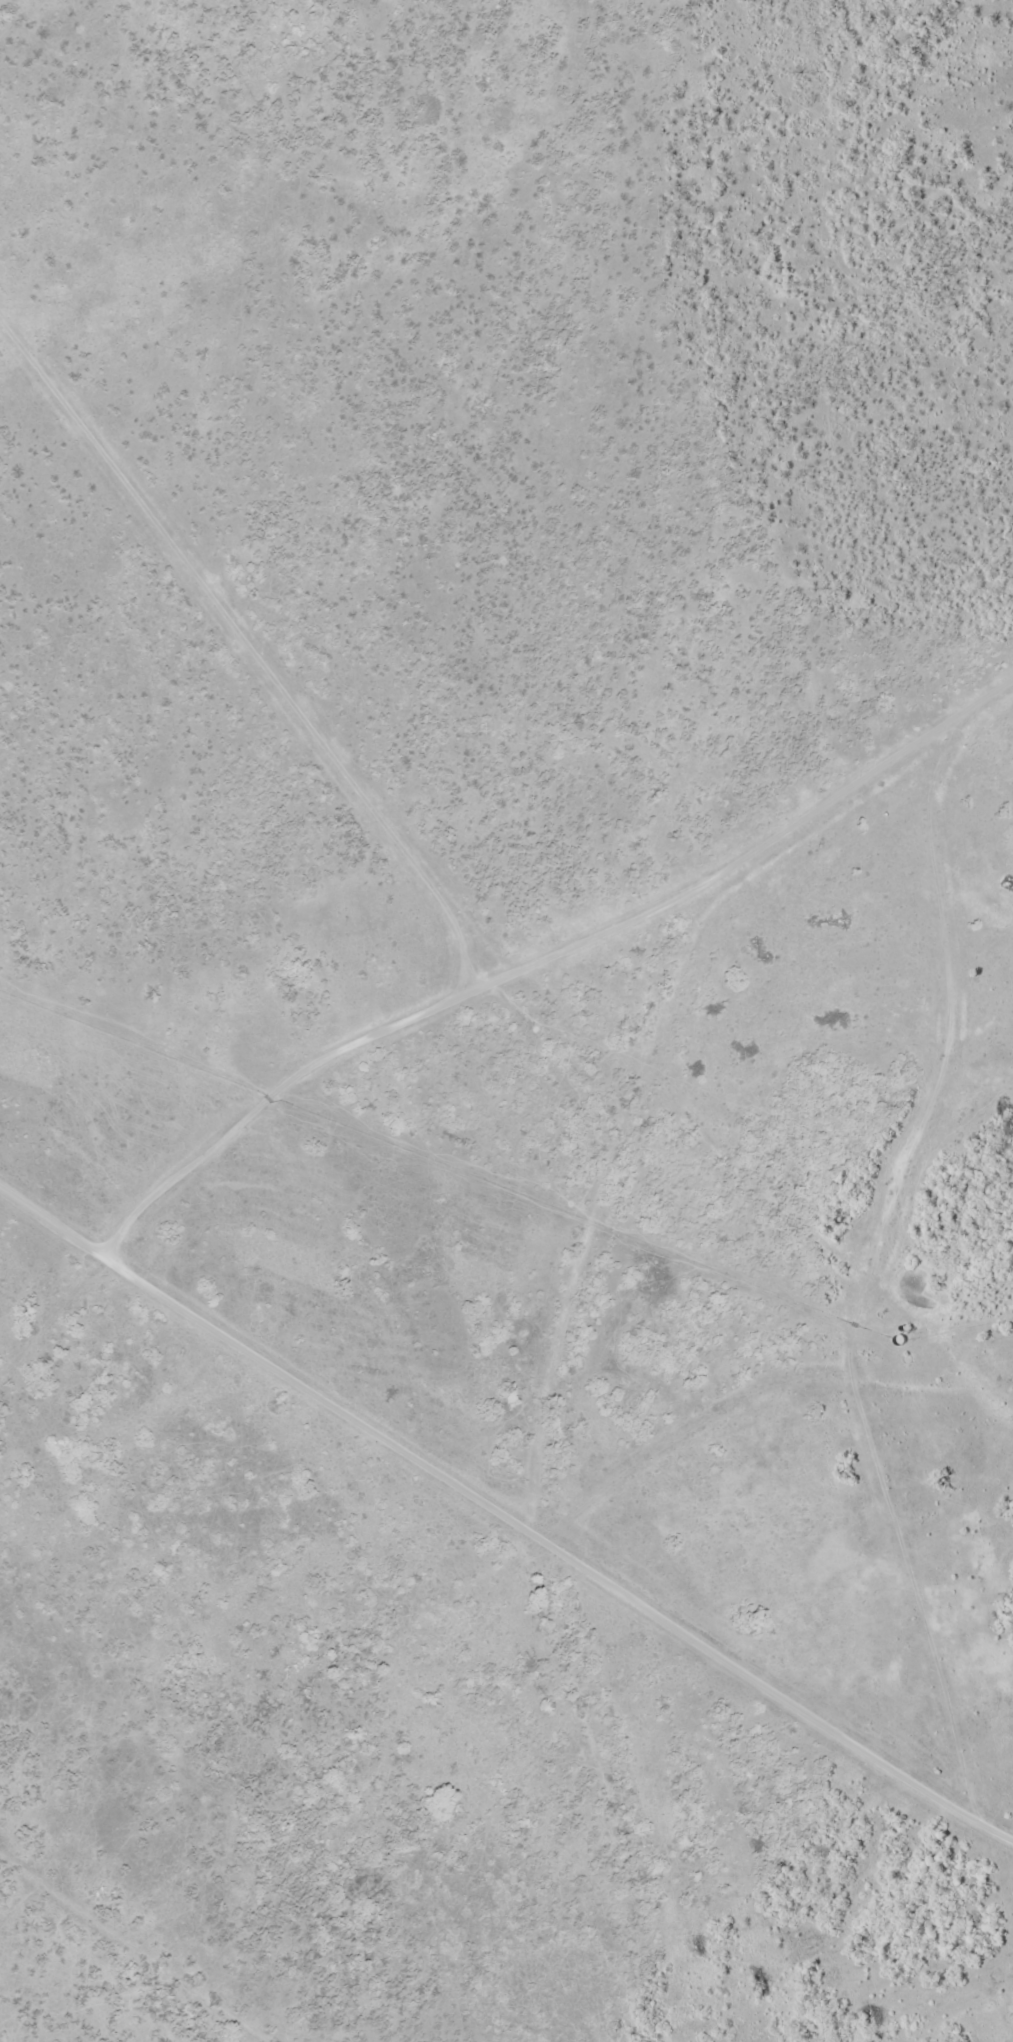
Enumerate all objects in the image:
road: (511, 971)
road: (881, 1217)
road: (506, 1520)

